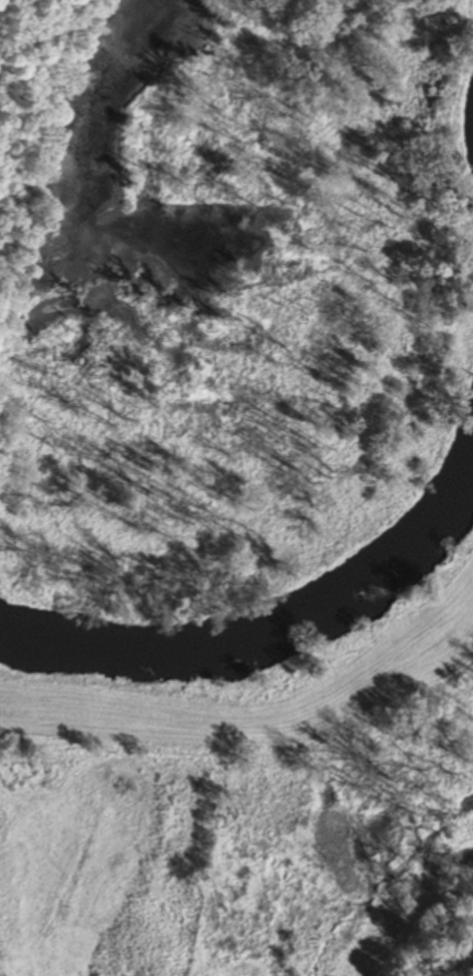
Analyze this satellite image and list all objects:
river: (267, 634)

